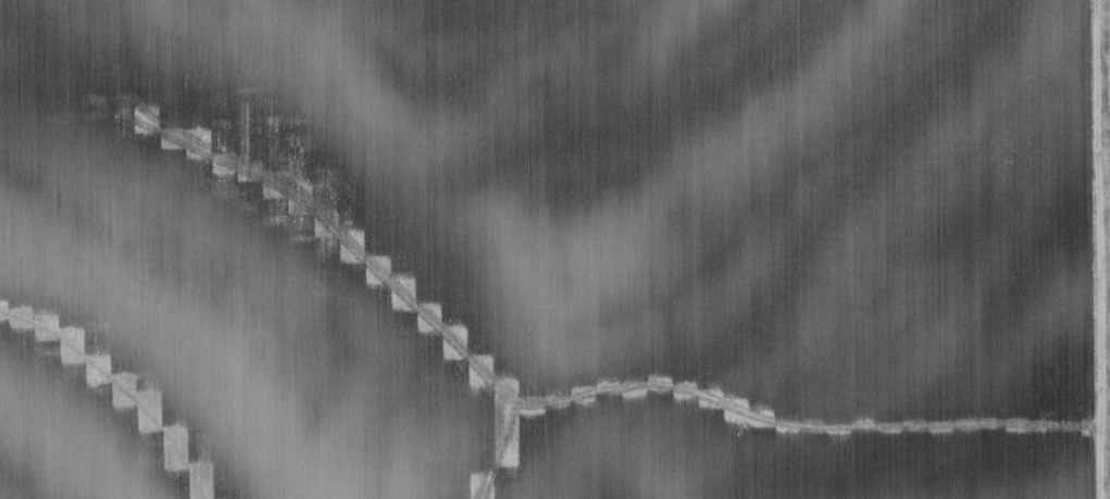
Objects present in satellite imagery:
road: (1108, 169)

